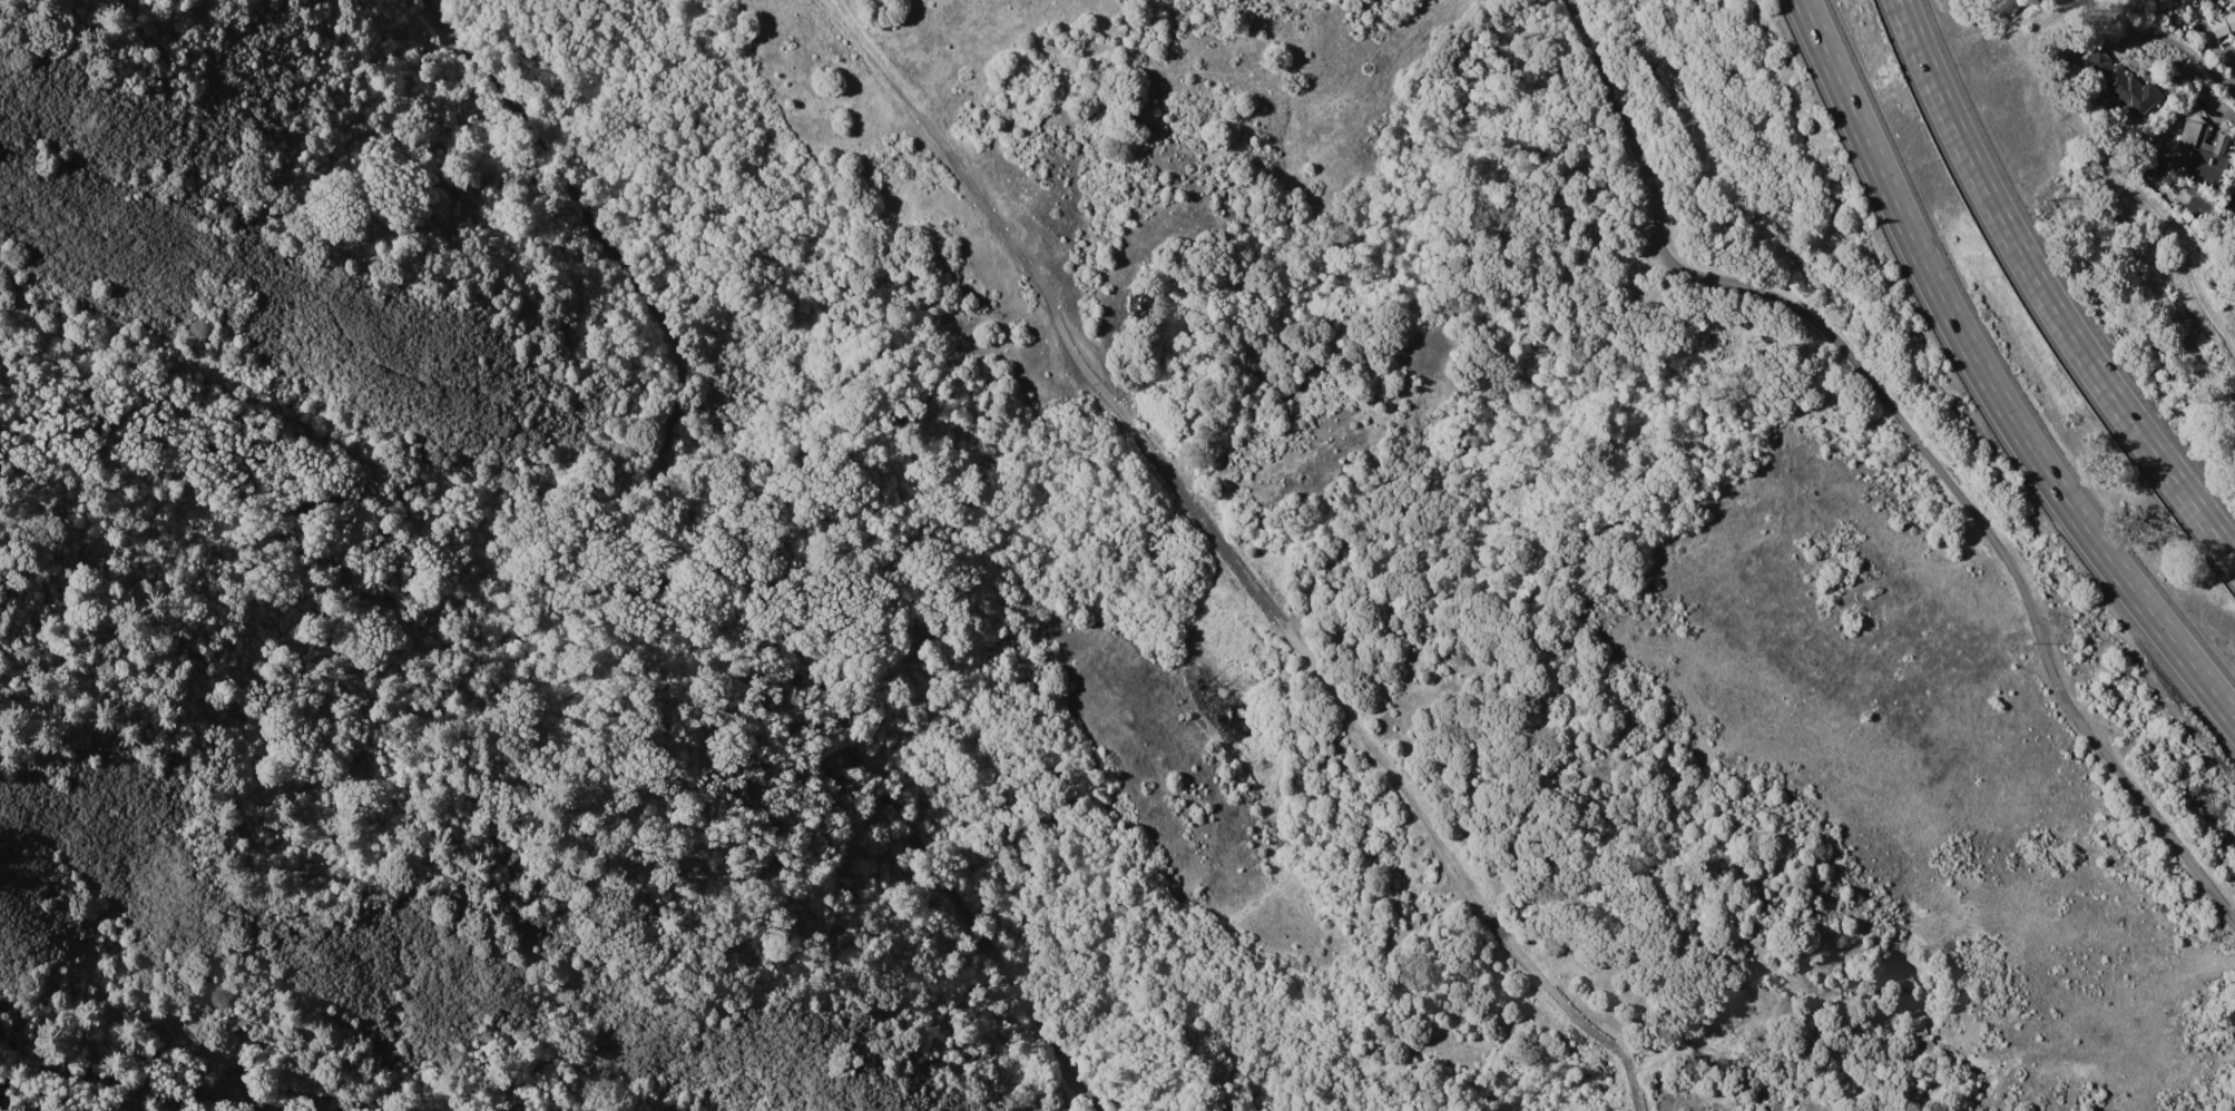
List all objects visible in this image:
building: (2234, 2)
building: (2223, 24)
road: (2174, 42)
building: (2119, 83)
building: (2196, 154)
road: (948, 155)
power tower: (2089, 168)
road: (2043, 294)
road: (1984, 380)
road: (1912, 427)
road: (1199, 518)
road: (717, 569)
road: (1396, 781)
road: (1541, 981)

